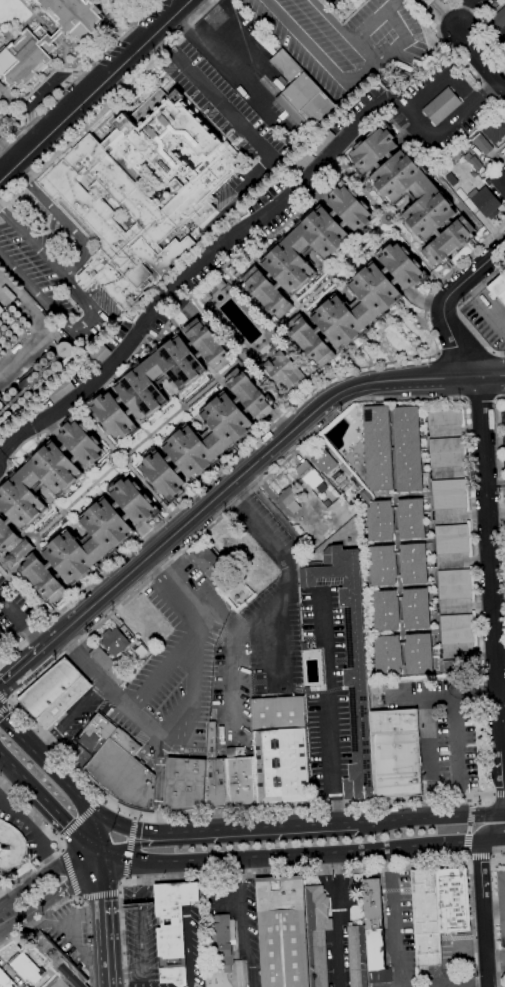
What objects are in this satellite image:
building: (331, 1)
building: (447, 1)
building: (426, 2)
parking lot: (124, 7)
road: (460, 12)
building: (74, 16)
building: (497, 20)
road: (395, 21)
road: (438, 23)
road: (202, 32)
parking lot: (347, 41)
building: (27, 56)
road: (479, 60)
road: (75, 72)
road: (444, 80)
road: (350, 84)
building: (1, 86)
road: (44, 88)
road: (92, 88)
road: (490, 90)
flagpole: (2, 96)
building: (302, 96)
road: (108, 102)
building: (442, 106)
road: (228, 111)
building: (496, 129)
road: (433, 138)
building: (321, 140)
building: (482, 144)
road: (10, 146)
building: (300, 162)
building: (475, 163)
road: (359, 183)
building: (499, 183)
building: (140, 193)
building: (413, 194)
building: (485, 202)
road: (393, 213)
building: (481, 219)
road: (63, 220)
road: (365, 248)
building: (307, 249)
road: (421, 257)
road: (458, 264)
road: (187, 271)
building: (498, 287)
building: (213, 290)
road: (447, 302)
building: (357, 306)
road: (299, 308)
building: (1, 309)
road: (92, 310)
road: (459, 311)
parking lot: (487, 319)
road: (373, 337)
building: (97, 357)
road: (403, 361)
building: (285, 373)
road: (491, 375)
building: (160, 377)
road: (219, 378)
road: (404, 380)
road: (210, 385)
building: (60, 390)
road: (480, 399)
road: (185, 407)
building: (444, 417)
building: (0, 430)
road: (150, 436)
building: (208, 436)
building: (378, 449)
building: (408, 449)
building: (447, 452)
road: (1, 454)
road: (122, 456)
building: (323, 461)
road: (501, 462)
building: (309, 474)
road: (96, 483)
building: (449, 494)
building: (289, 500)
road: (496, 506)
building: (23, 509)
road: (64, 512)
road: (164, 519)
building: (411, 519)
road: (188, 521)
building: (381, 521)
building: (313, 539)
building: (452, 539)
building: (204, 560)
building: (413, 563)
road: (152, 566)
building: (383, 566)
road: (473, 578)
building: (454, 584)
road: (492, 585)
road: (273, 602)
building: (416, 609)
building: (385, 610)
road: (114, 611)
road: (24, 619)
building: (457, 629)
building: (2, 637)
building: (114, 642)
road: (63, 644)
building: (141, 651)
road: (195, 652)
building: (418, 654)
building: (388, 656)
building: (350, 661)
building: (109, 665)
road: (22, 667)
building: (449, 667)
road: (163, 670)
parking lot: (160, 675)
road: (502, 685)
building: (50, 688)
building: (307, 690)
road: (4, 691)
road: (21, 691)
road: (116, 693)
road: (447, 695)
road: (11, 697)
building: (64, 702)
road: (11, 705)
road: (328, 707)
road: (76, 710)
road: (4, 713)
building: (278, 713)
building: (96, 734)
road: (17, 736)
building: (212, 741)
road: (41, 745)
building: (396, 753)
road: (457, 754)
road: (430, 757)
building: (281, 766)
building: (122, 772)
road: (158, 776)
building: (240, 778)
road: (62, 781)
building: (185, 783)
building: (215, 784)
road: (95, 786)
road: (491, 795)
road: (500, 796)
road: (102, 798)
road: (472, 800)
road: (50, 804)
road: (132, 816)
road: (80, 818)
road: (431, 818)
road: (154, 823)
road: (260, 826)
traffic signals: (118, 827)
road: (489, 828)
road: (125, 829)
road: (469, 829)
road: (98, 830)
road: (59, 838)
road: (57, 840)
road: (492, 840)
road: (461, 842)
road: (136, 846)
building: (11, 847)
road: (129, 848)
flagpole: (1, 850)
road: (340, 851)
road: (59, 853)
traffic signals: (104, 853)
road: (127, 858)
road: (467, 858)
road: (491, 858)
road: (480, 859)
road: (194, 860)
road: (471, 860)
road: (185, 871)
road: (305, 871)
road: (44, 874)
road: (68, 875)
road: (125, 878)
road: (120, 892)
building: (280, 893)
road: (187, 894)
road: (56, 895)
road: (99, 895)
road: (75, 897)
road: (78, 897)
road: (77, 898)
road: (391, 900)
building: (453, 901)
building: (135, 909)
road: (483, 913)
road: (495, 916)
building: (425, 917)
road: (104, 920)
road: (139, 924)
road: (242, 924)
building: (173, 928)
building: (374, 932)
building: (317, 934)
building: (219, 942)
road: (189, 946)
building: (283, 948)
building: (357, 956)
building: (59, 960)
building: (27, 968)
building: (51, 972)
road: (172, 972)
road: (188, 972)
road: (125, 975)
building: (5, 980)
building: (57, 982)
building: (27, 986)

